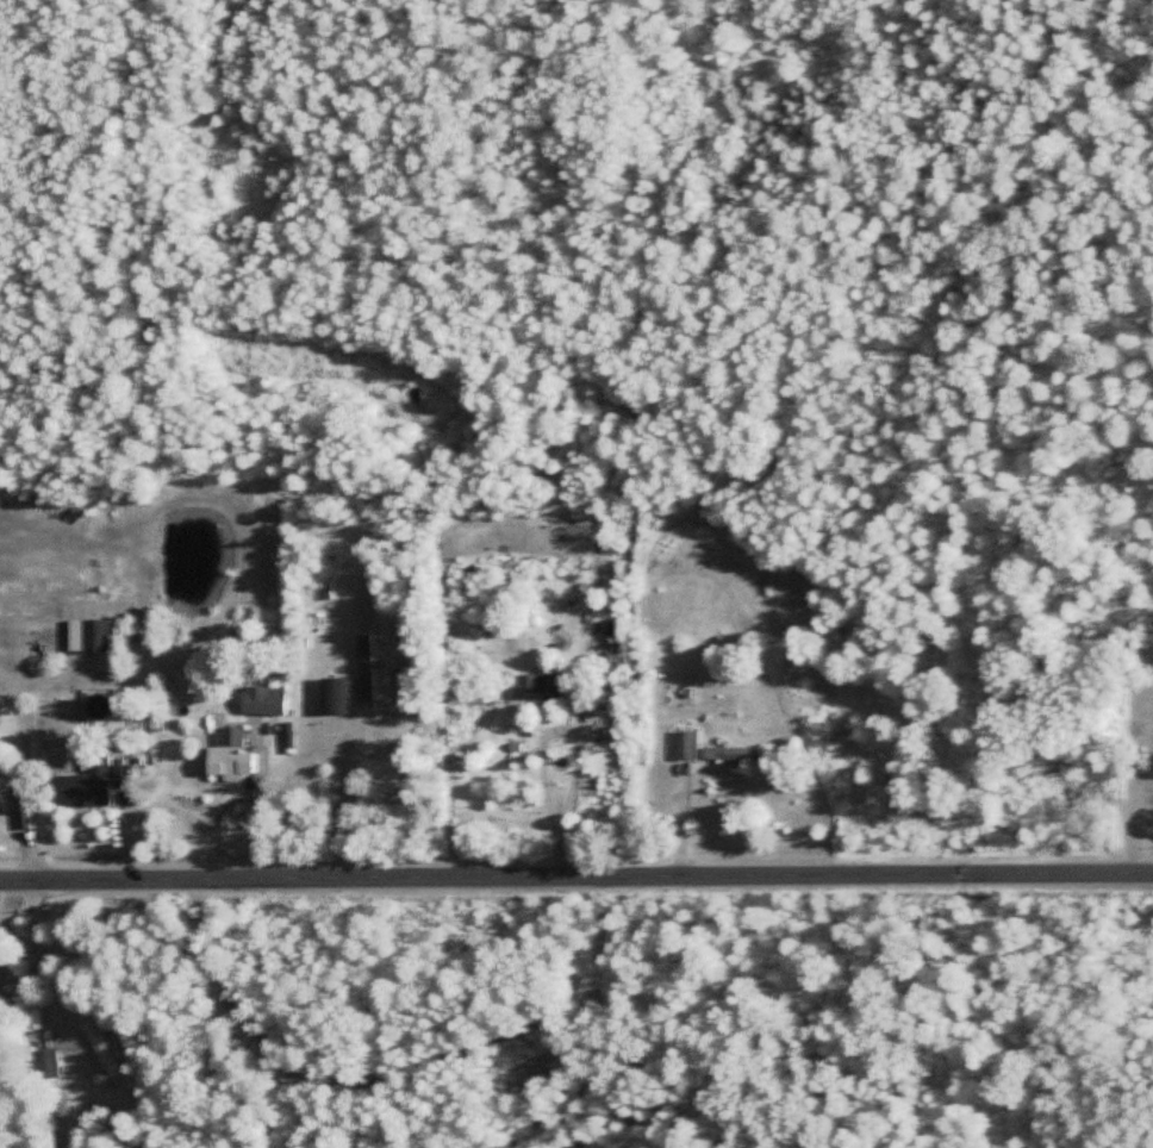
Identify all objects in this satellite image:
building: (94, 636)
building: (366, 667)
building: (541, 690)
building: (336, 695)
building: (263, 700)
road: (542, 740)
building: (686, 745)
building: (226, 751)
building: (731, 754)
building: (1151, 767)
building: (121, 774)
building: (83, 785)
road: (575, 873)
road: (36, 949)
building: (100, 1042)
building: (44, 1063)

